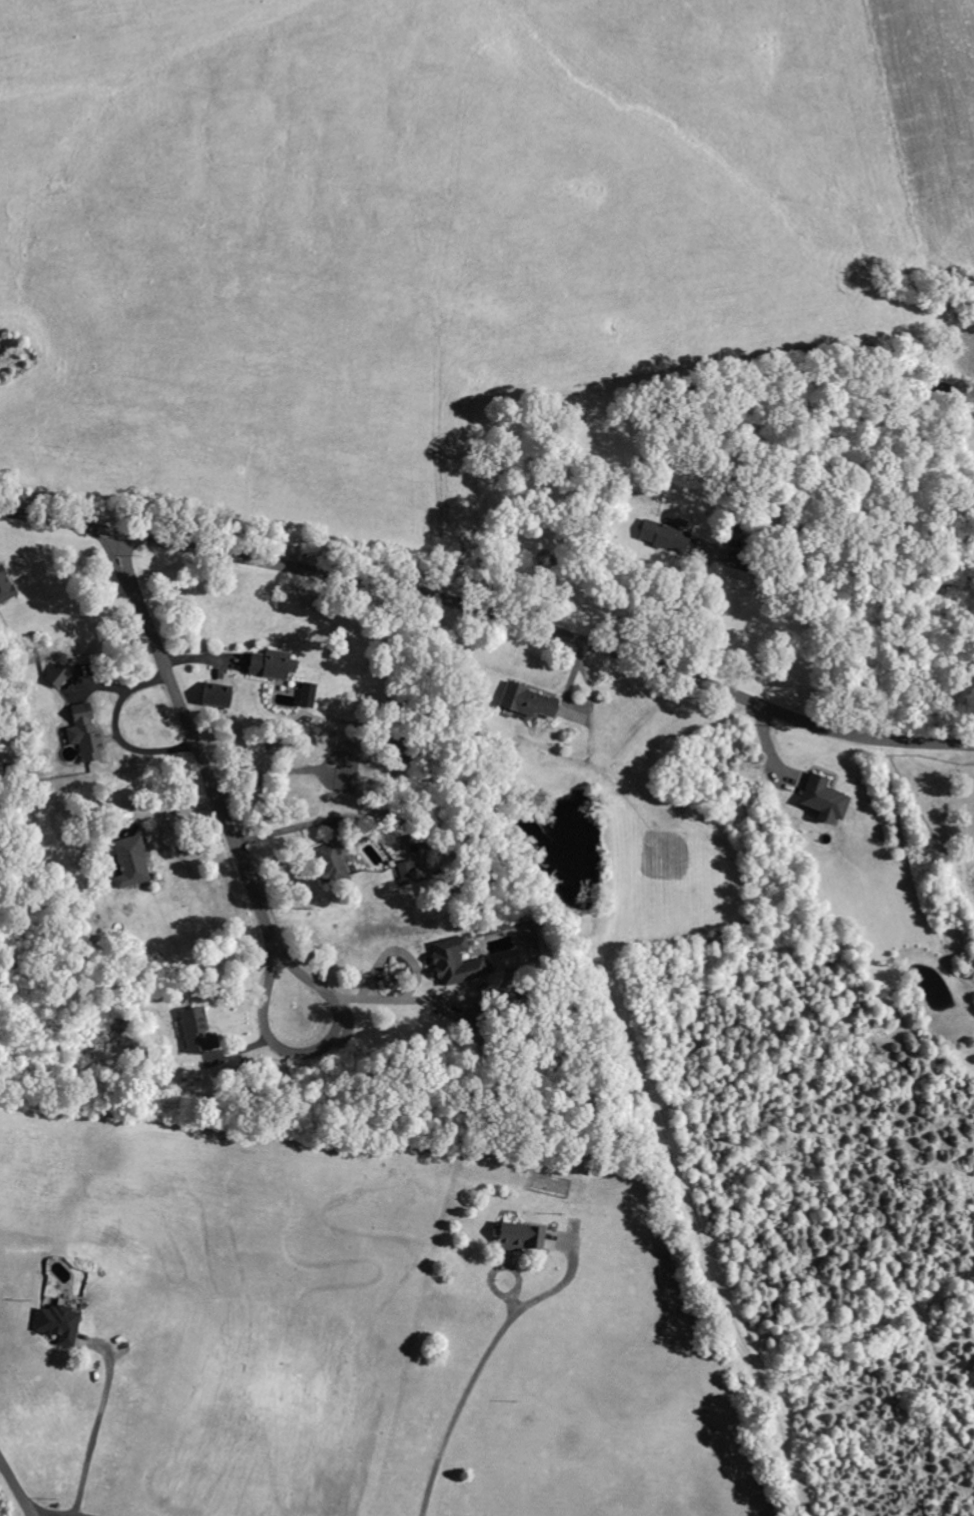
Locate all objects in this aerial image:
building: (666, 535)
building: (739, 560)
building: (6, 585)
road: (492, 615)
building: (274, 665)
building: (59, 675)
building: (220, 695)
building: (309, 695)
building: (531, 702)
building: (88, 733)
road: (195, 747)
park: (943, 797)
building: (827, 799)
road: (360, 816)
building: (335, 861)
building: (134, 862)
building: (409, 873)
building: (529, 938)
building: (458, 962)
building: (480, 1018)
building: (200, 1031)
building: (523, 1237)
building: (61, 1324)
road: (16, 1487)

